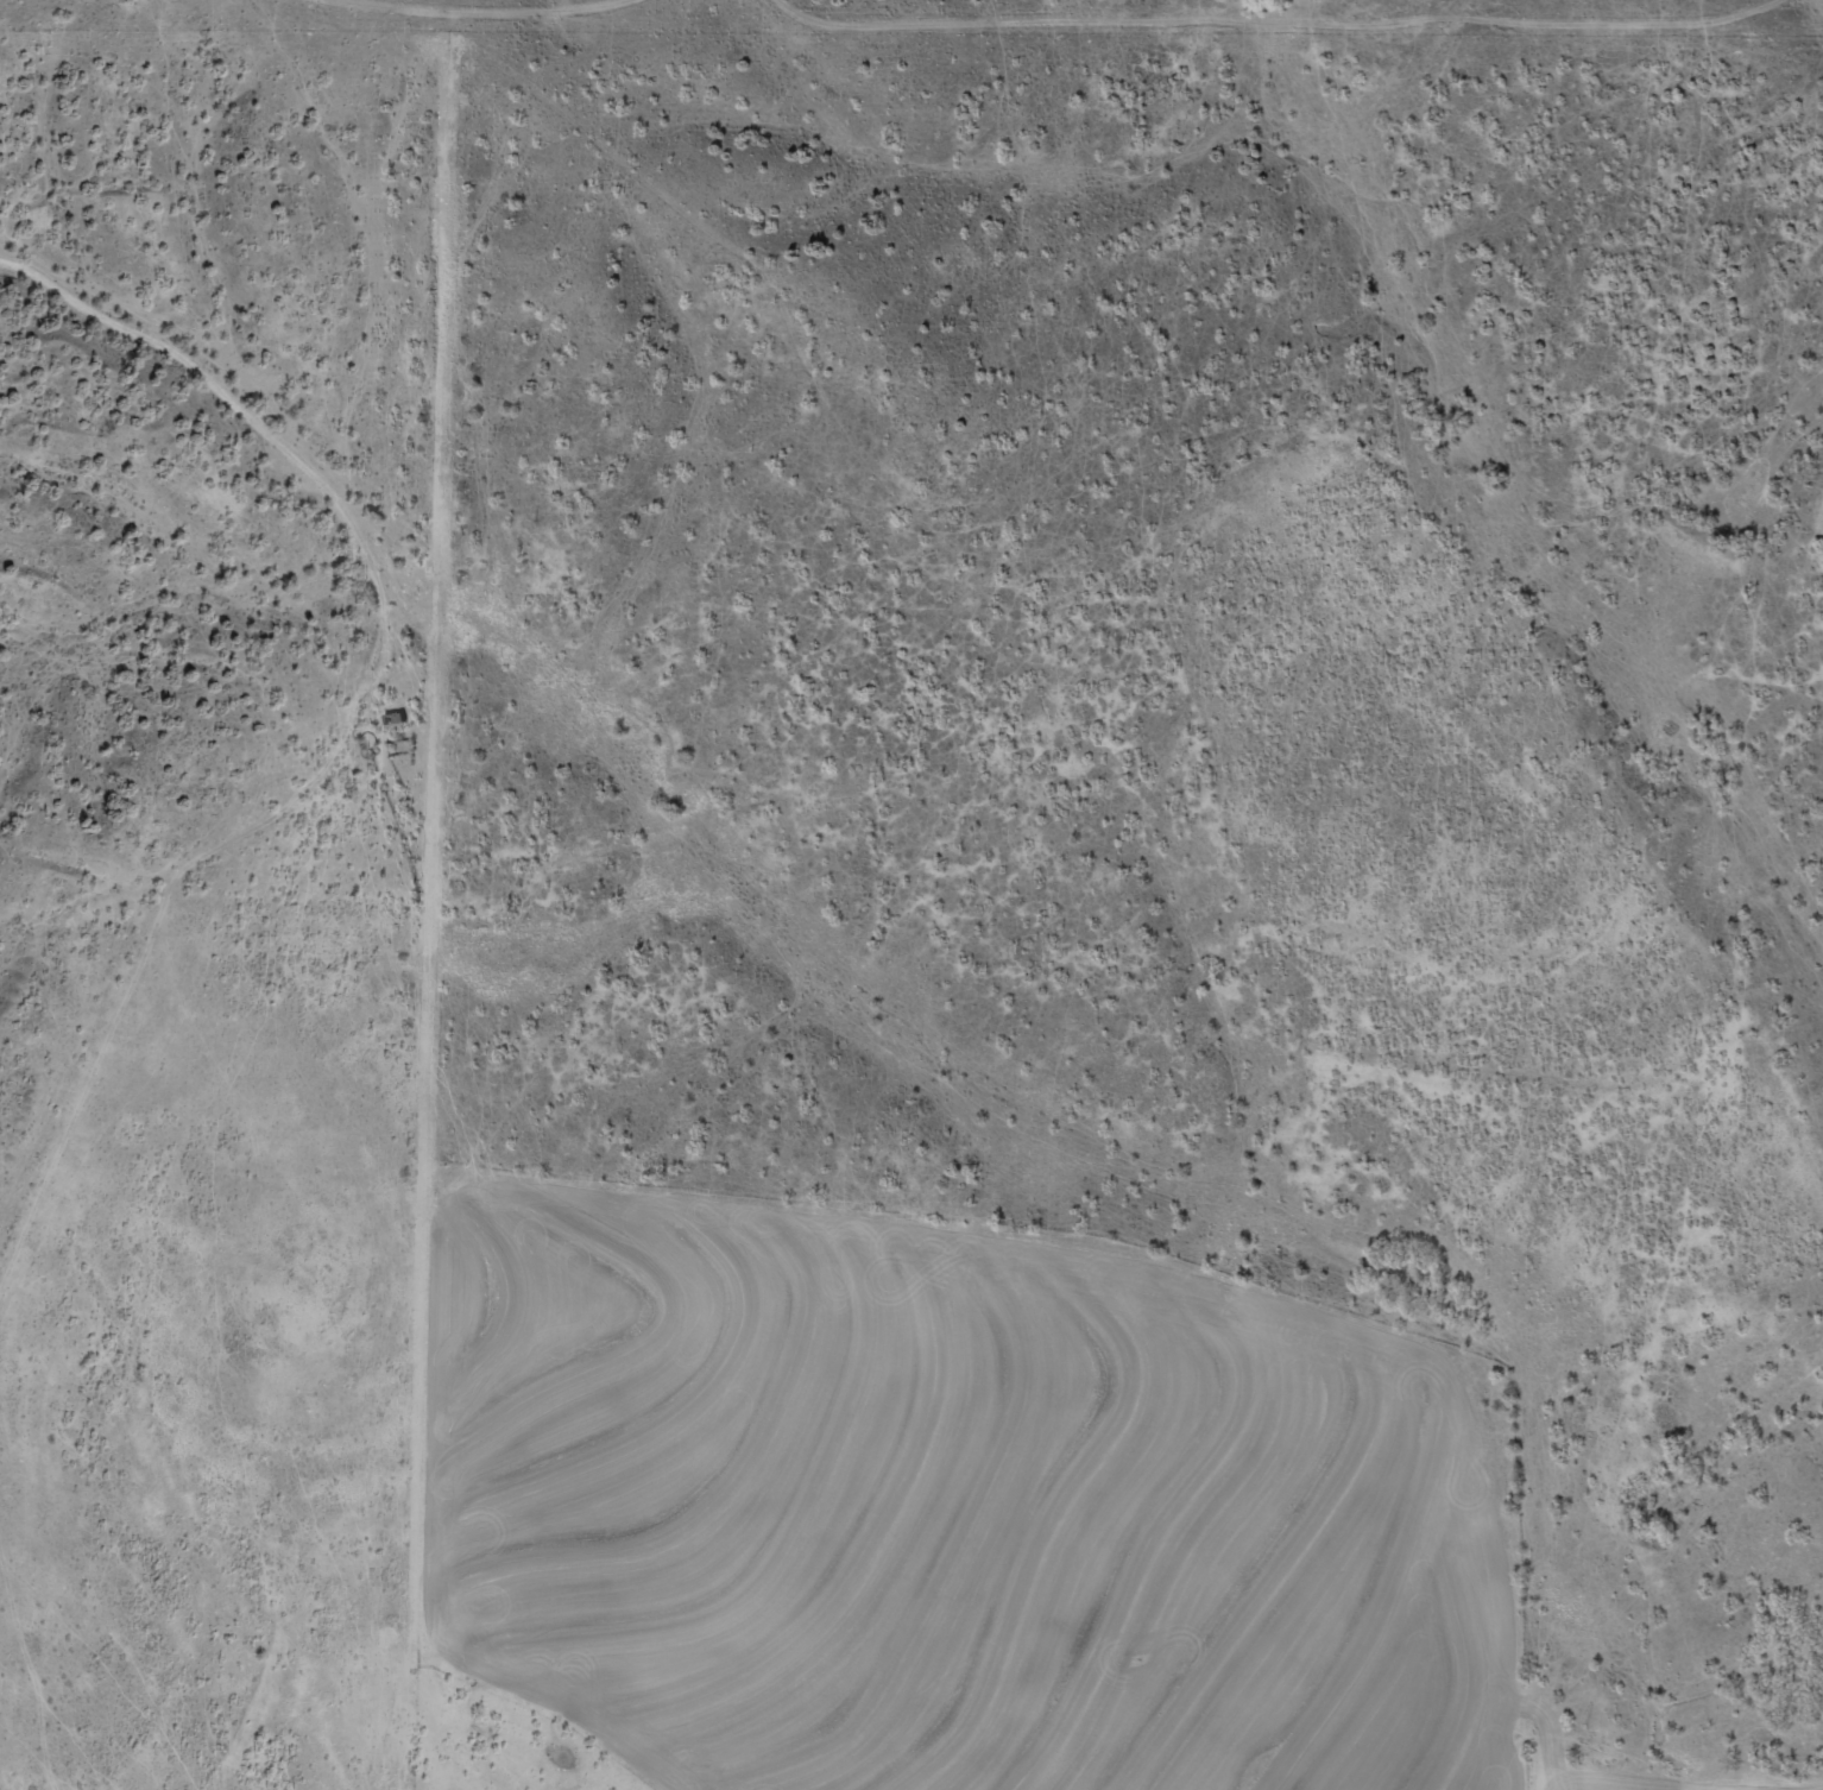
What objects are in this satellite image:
building: (399, 720)
road: (925, 770)
road: (1148, 779)

